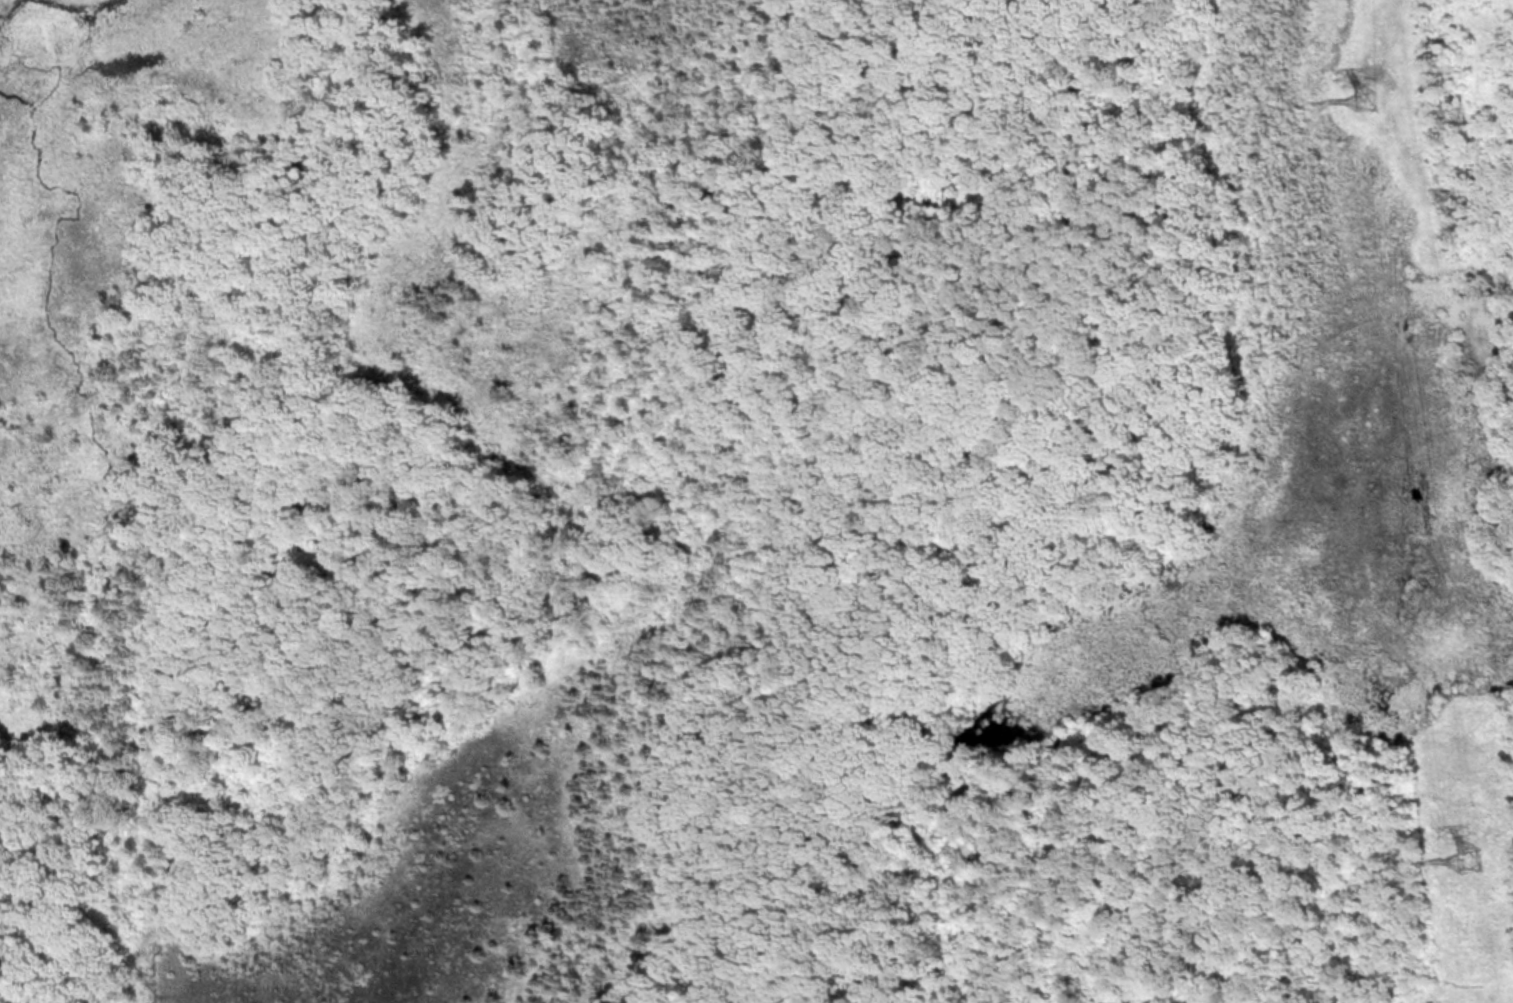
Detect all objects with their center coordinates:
power tower: (1365, 100)
park: (737, 511)
building: (1470, 861)
power tower: (1470, 861)

